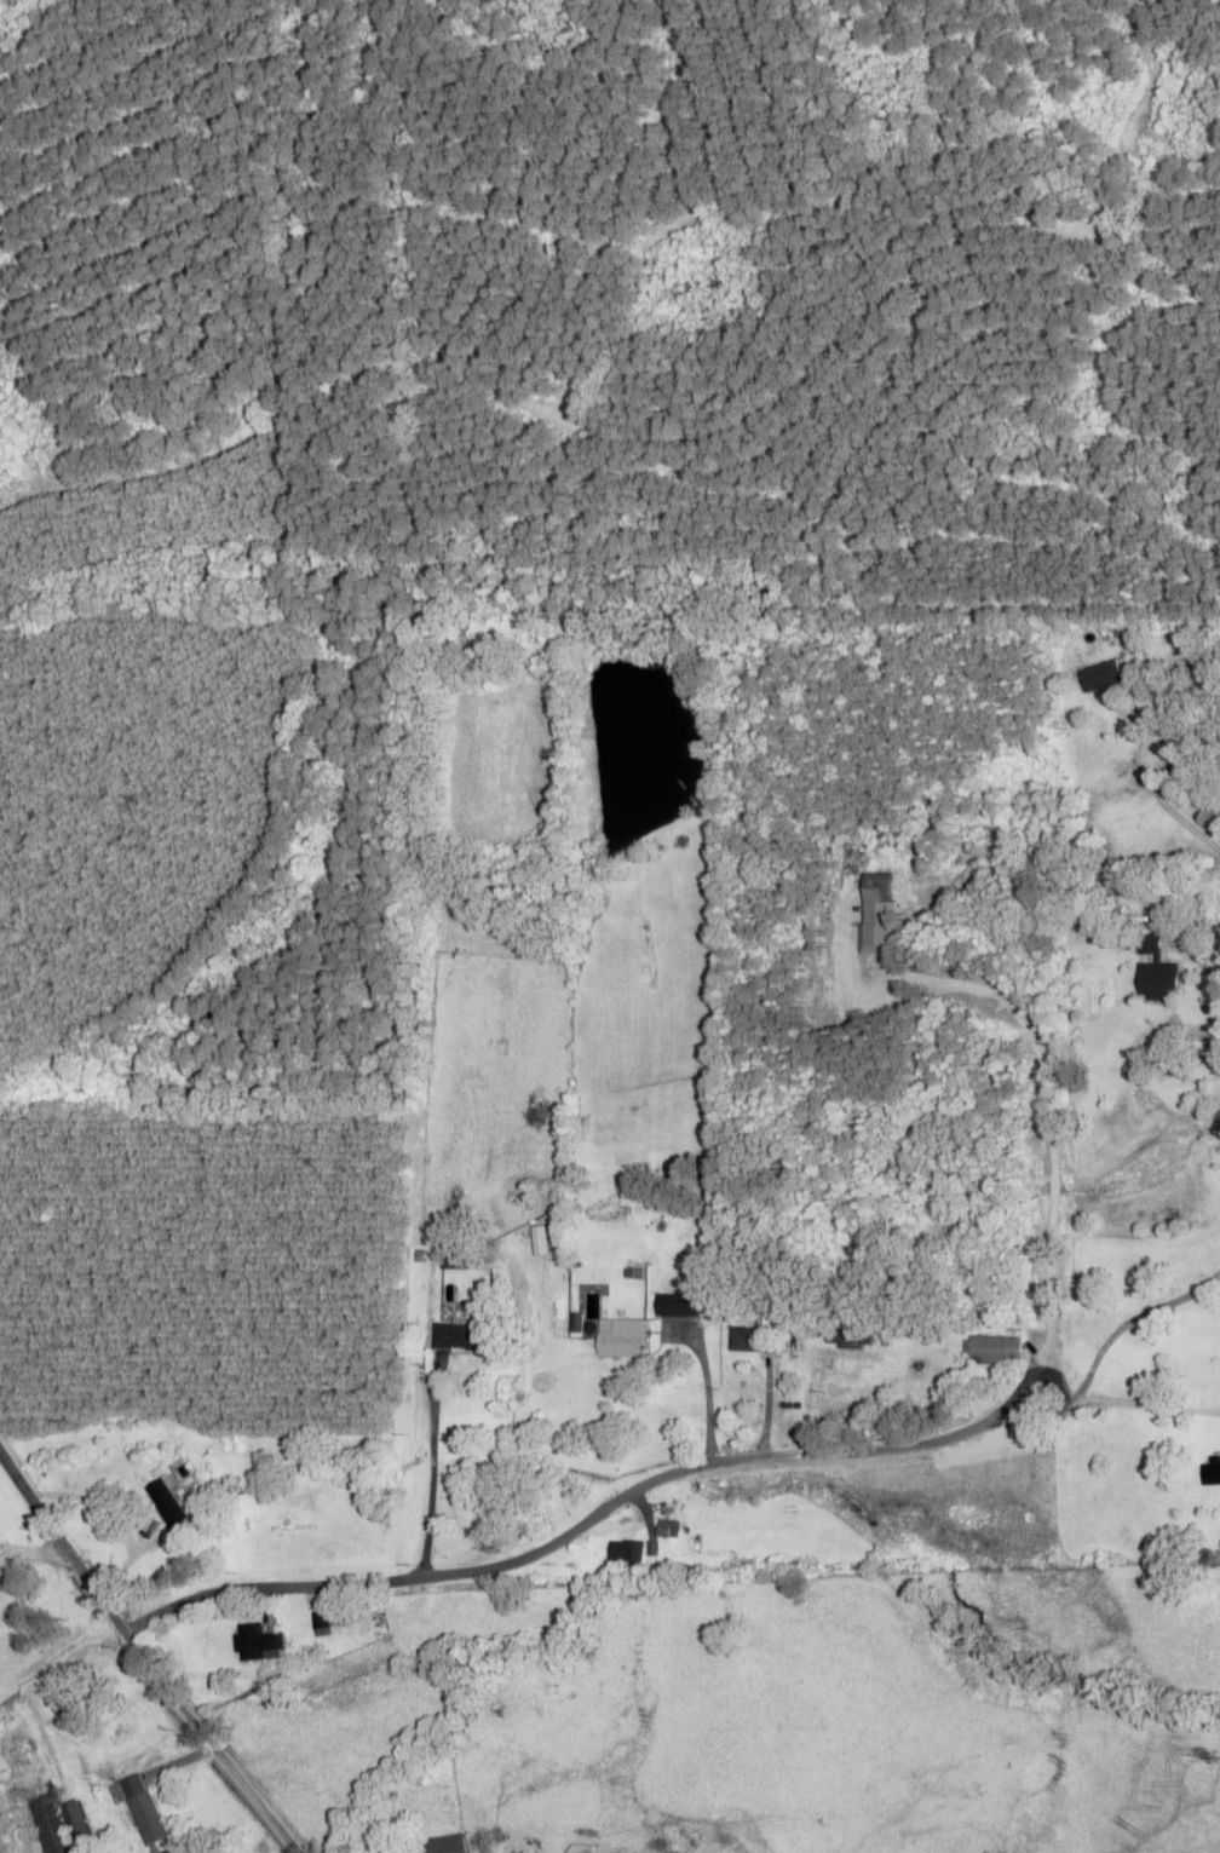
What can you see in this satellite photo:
building: (1099, 677)
building: (1153, 972)
building: (453, 1259)
building: (976, 1297)
building: (677, 1306)
building: (459, 1337)
building: (620, 1339)
building: (848, 1340)
building: (750, 1341)
building: (992, 1350)
building: (1210, 1472)
building: (165, 1503)
road: (585, 1524)
building: (666, 1530)
building: (623, 1556)
building: (323, 1621)
building: (255, 1645)
road: (142, 1658)
building: (142, 1811)

